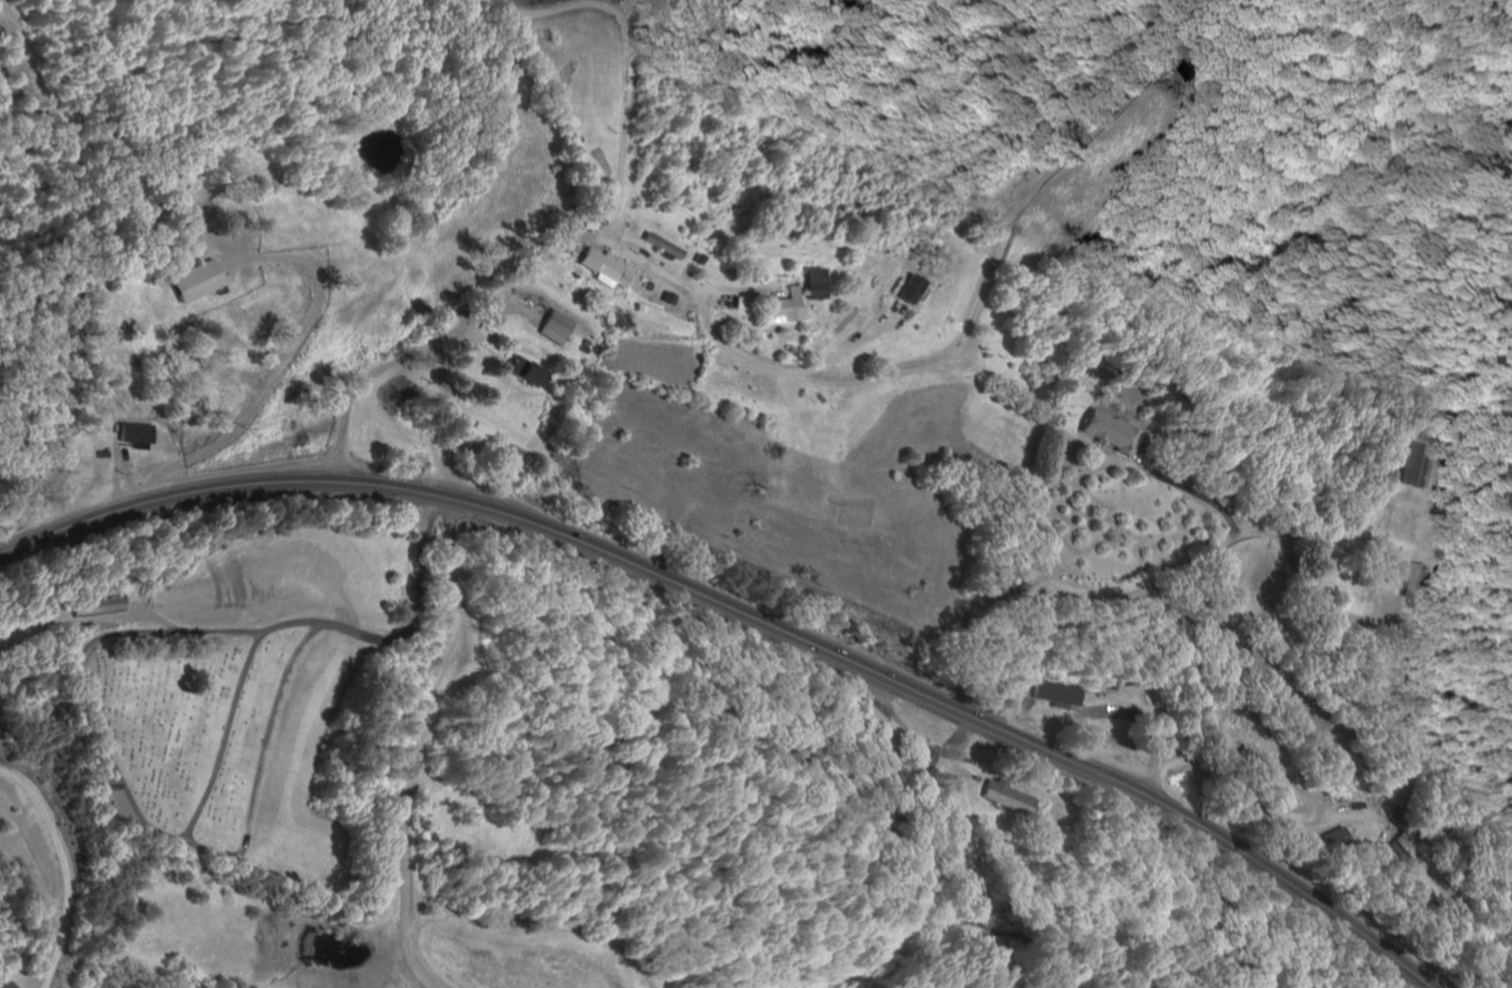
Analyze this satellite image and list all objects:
building: (1195, 75)
road: (601, 192)
road: (255, 231)
building: (600, 266)
building: (812, 286)
road: (492, 288)
building: (780, 310)
building: (554, 329)
road: (1152, 341)
road: (961, 419)
building: (1109, 434)
building: (136, 436)
building: (1415, 467)
building: (1416, 586)
building: (179, 597)
building: (94, 607)
road: (746, 616)
road: (399, 631)
building: (1105, 697)
park: (223, 739)
building: (1004, 800)
building: (1401, 851)
road: (418, 878)
building: (6, 985)

